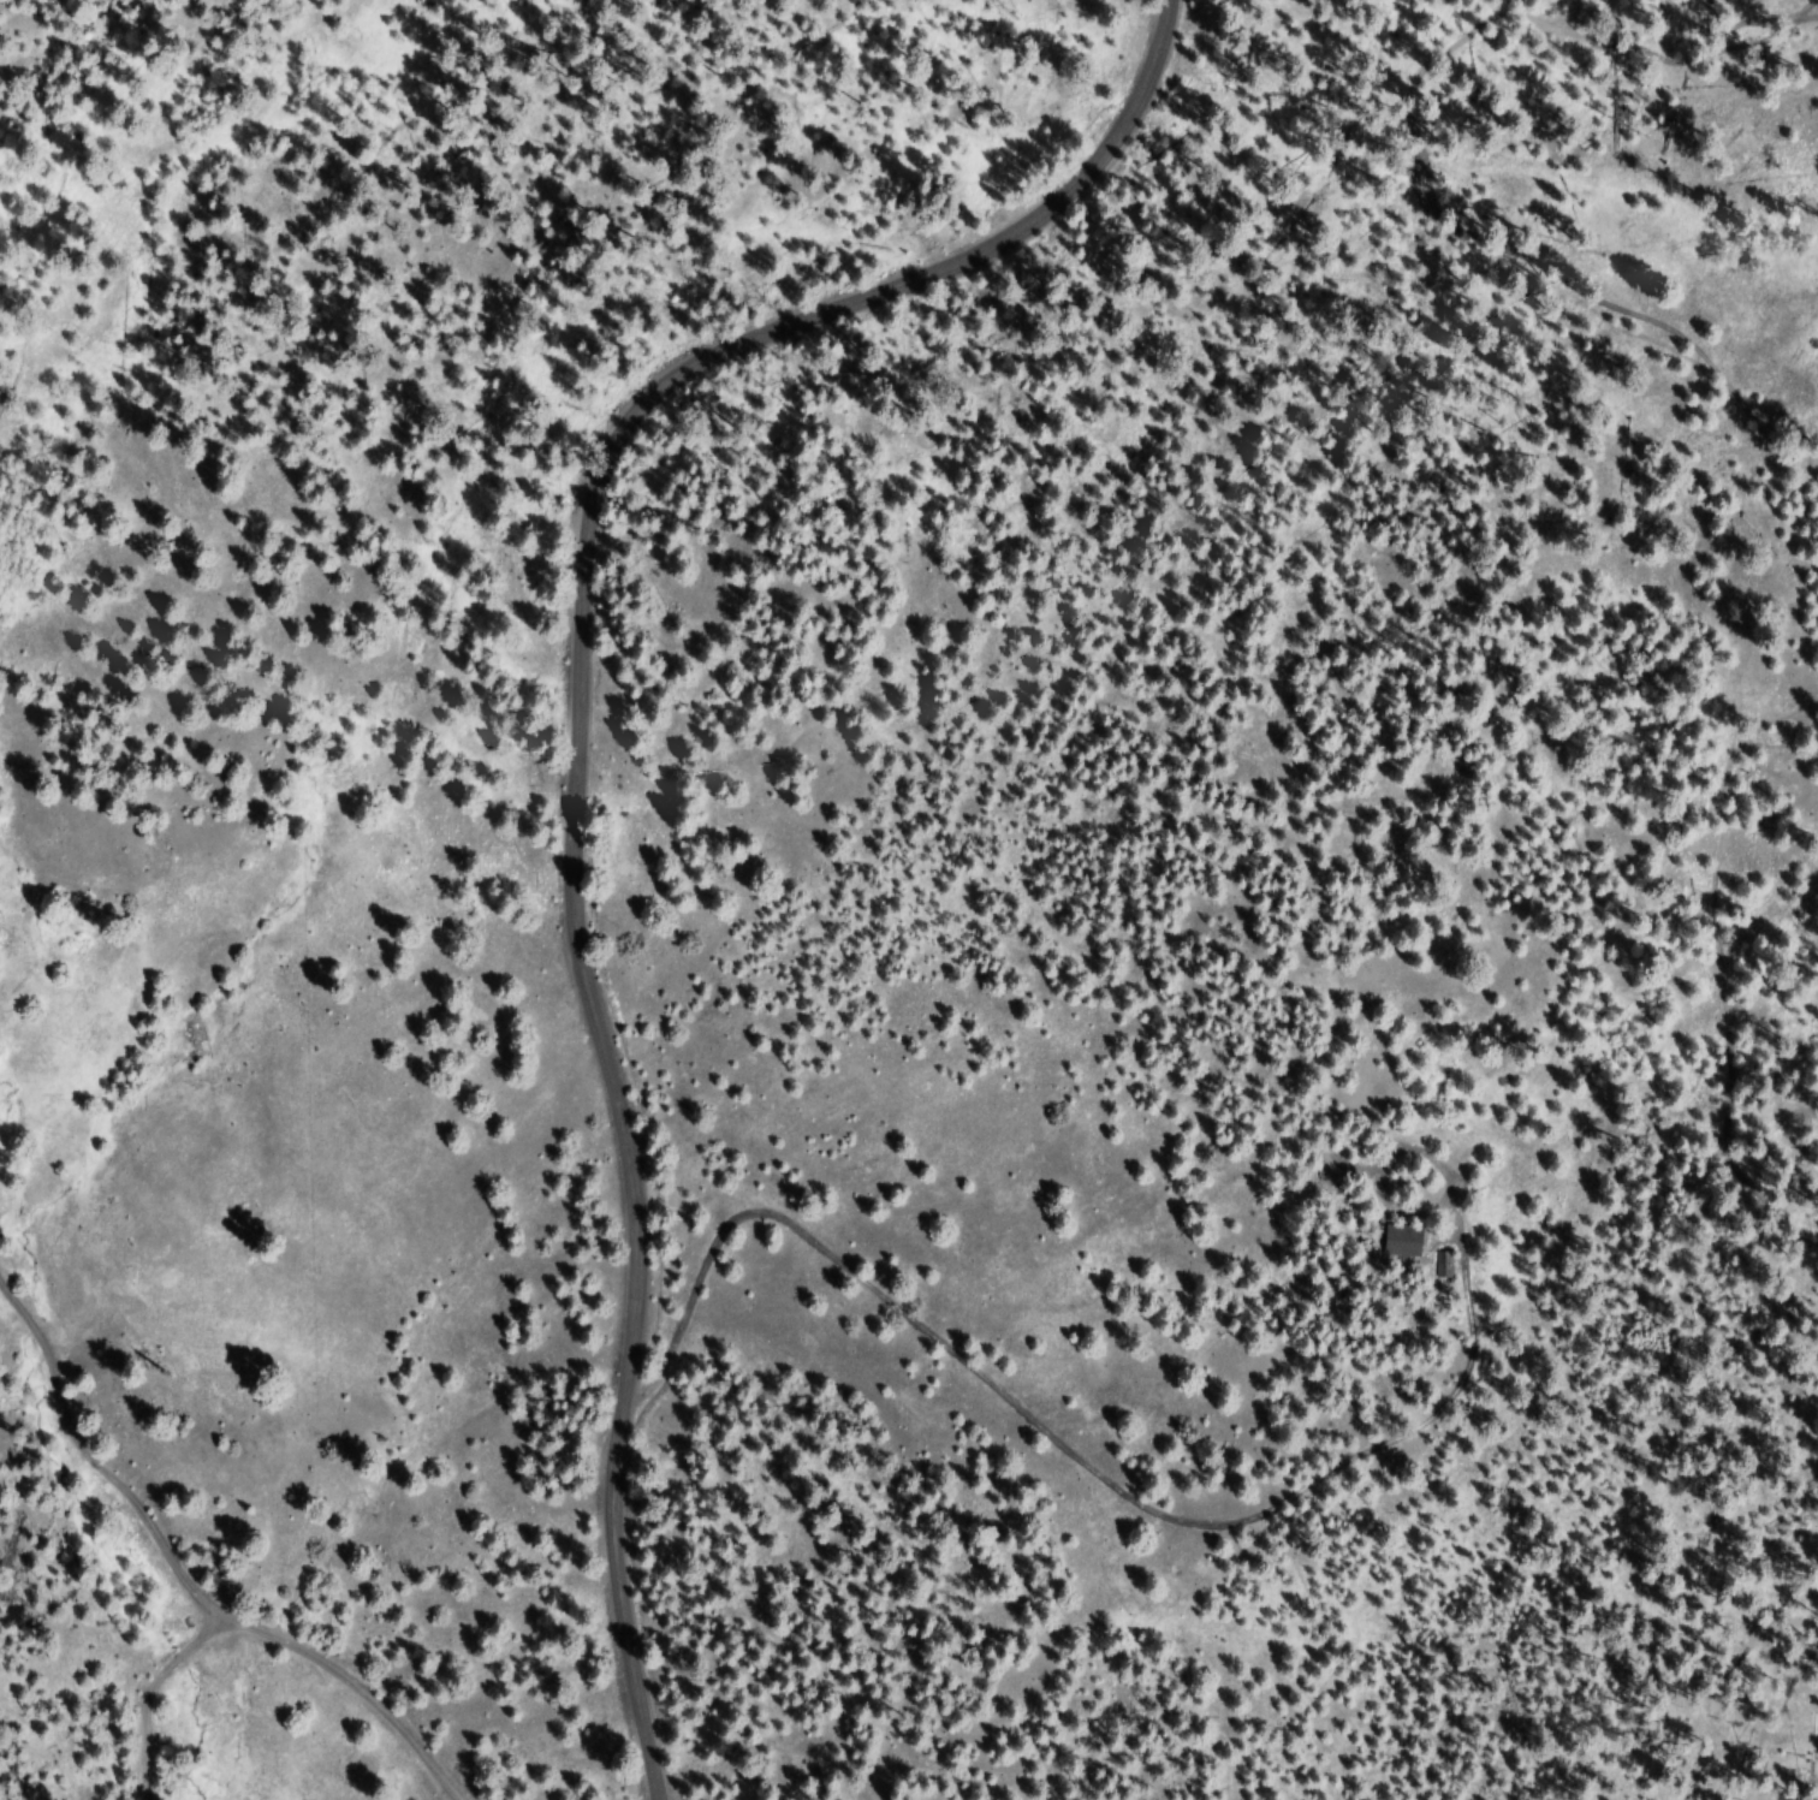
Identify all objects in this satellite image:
road: (570, 749)
building: (1404, 1241)

